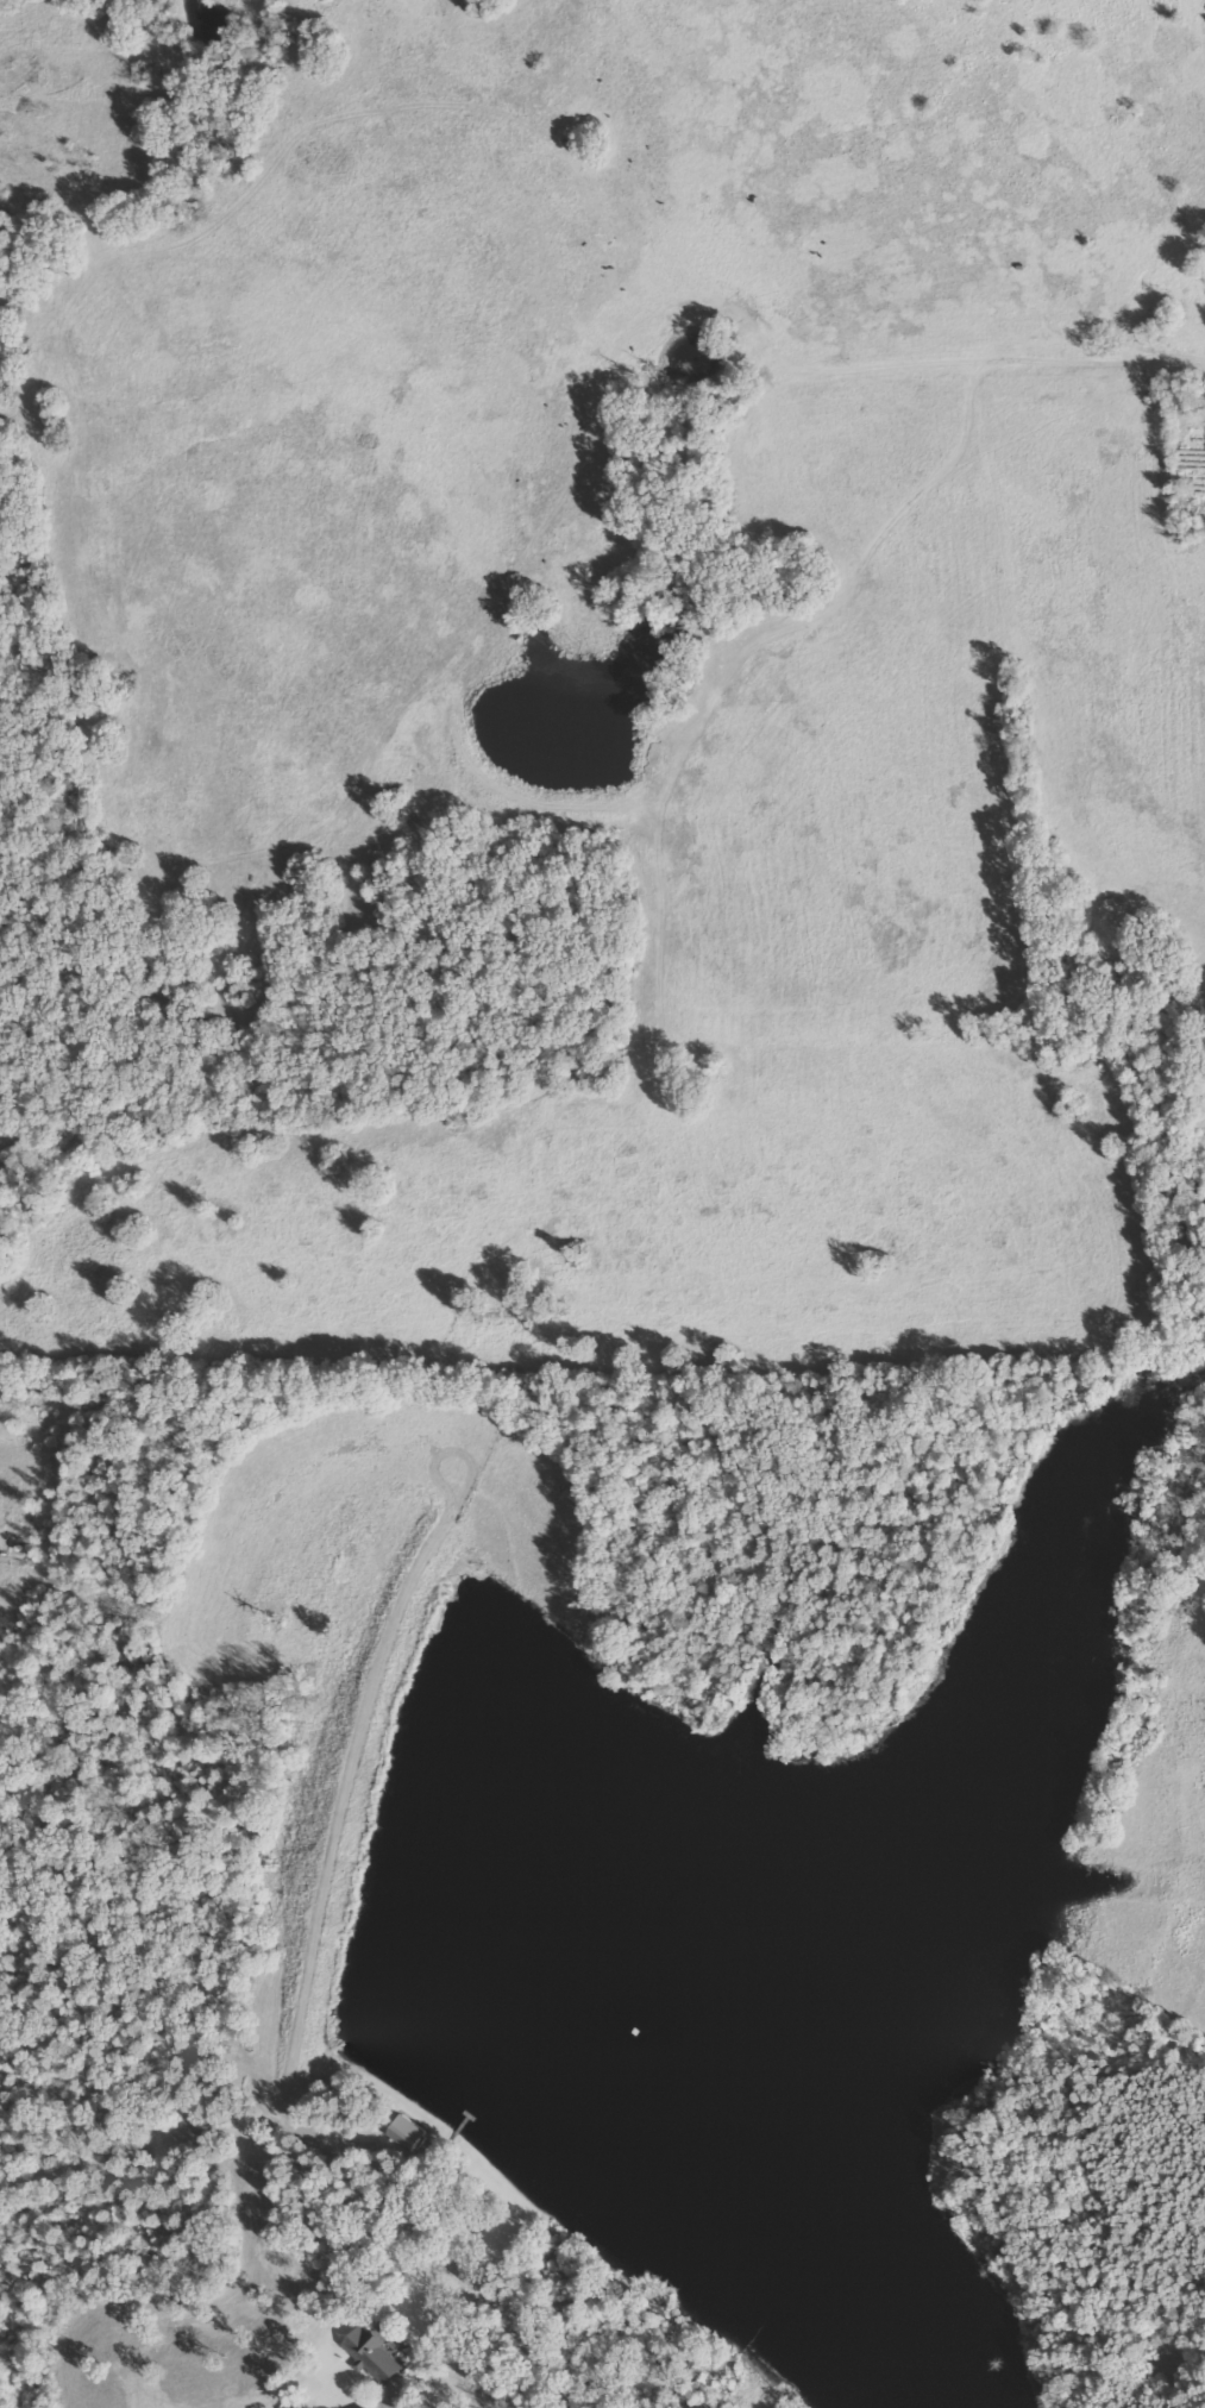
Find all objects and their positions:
building: (408, 2134)
building: (374, 2357)

